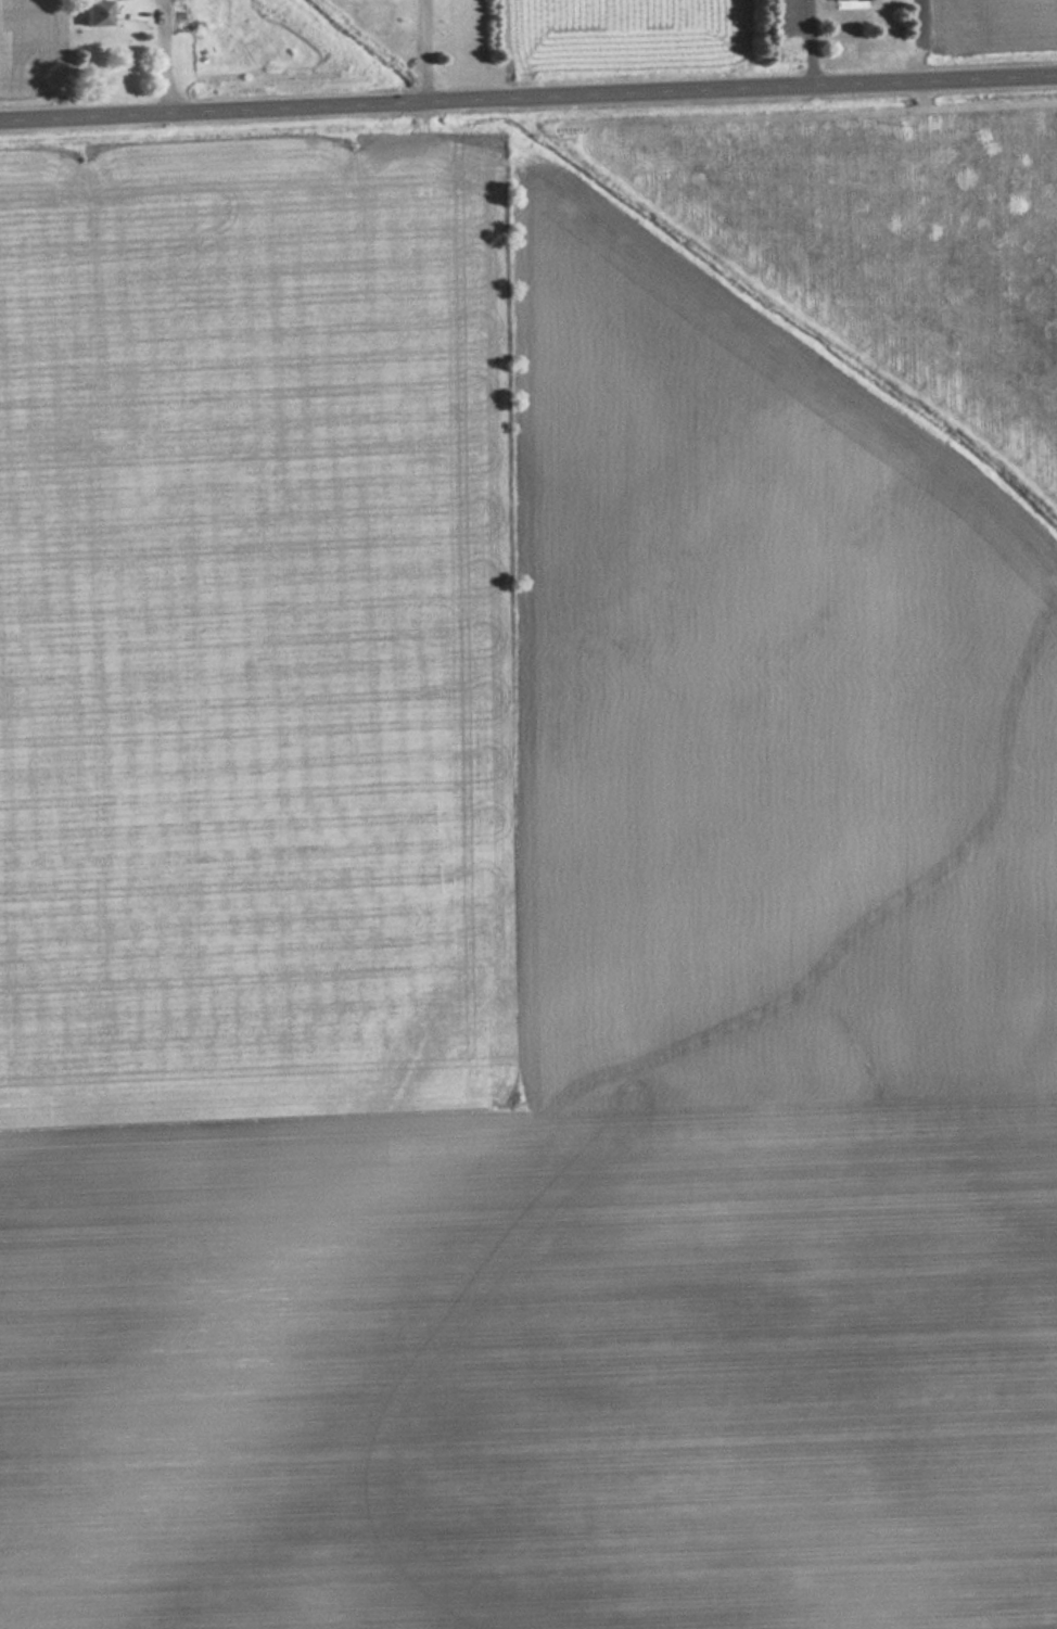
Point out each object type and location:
building: (100, 12)
road: (528, 97)

